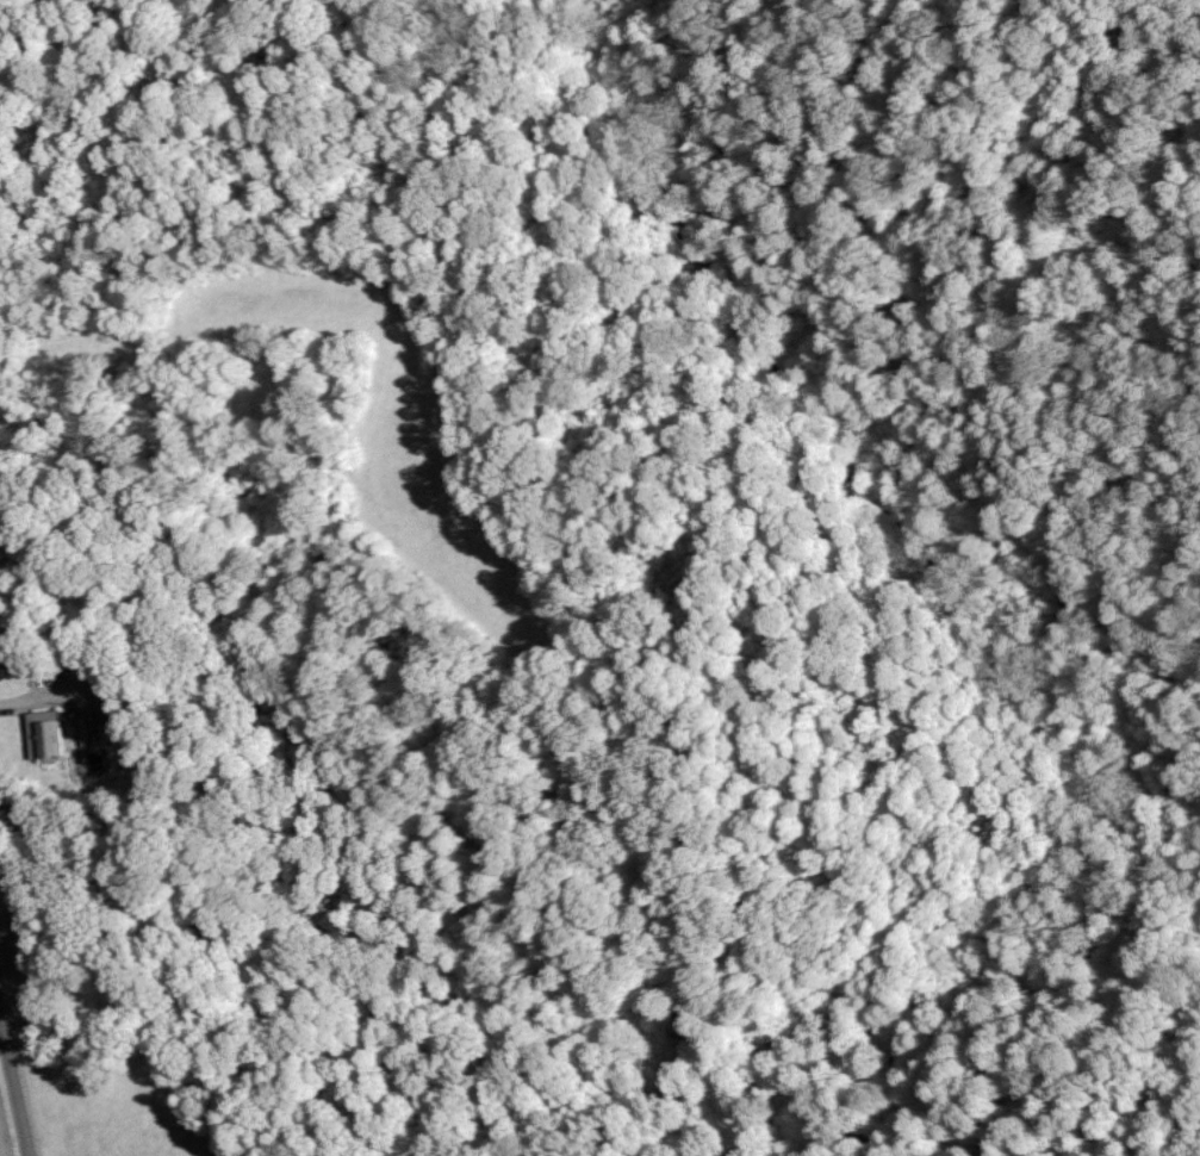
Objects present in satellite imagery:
building: (104, 698)
road: (30, 701)
building: (42, 733)
road: (13, 1093)

